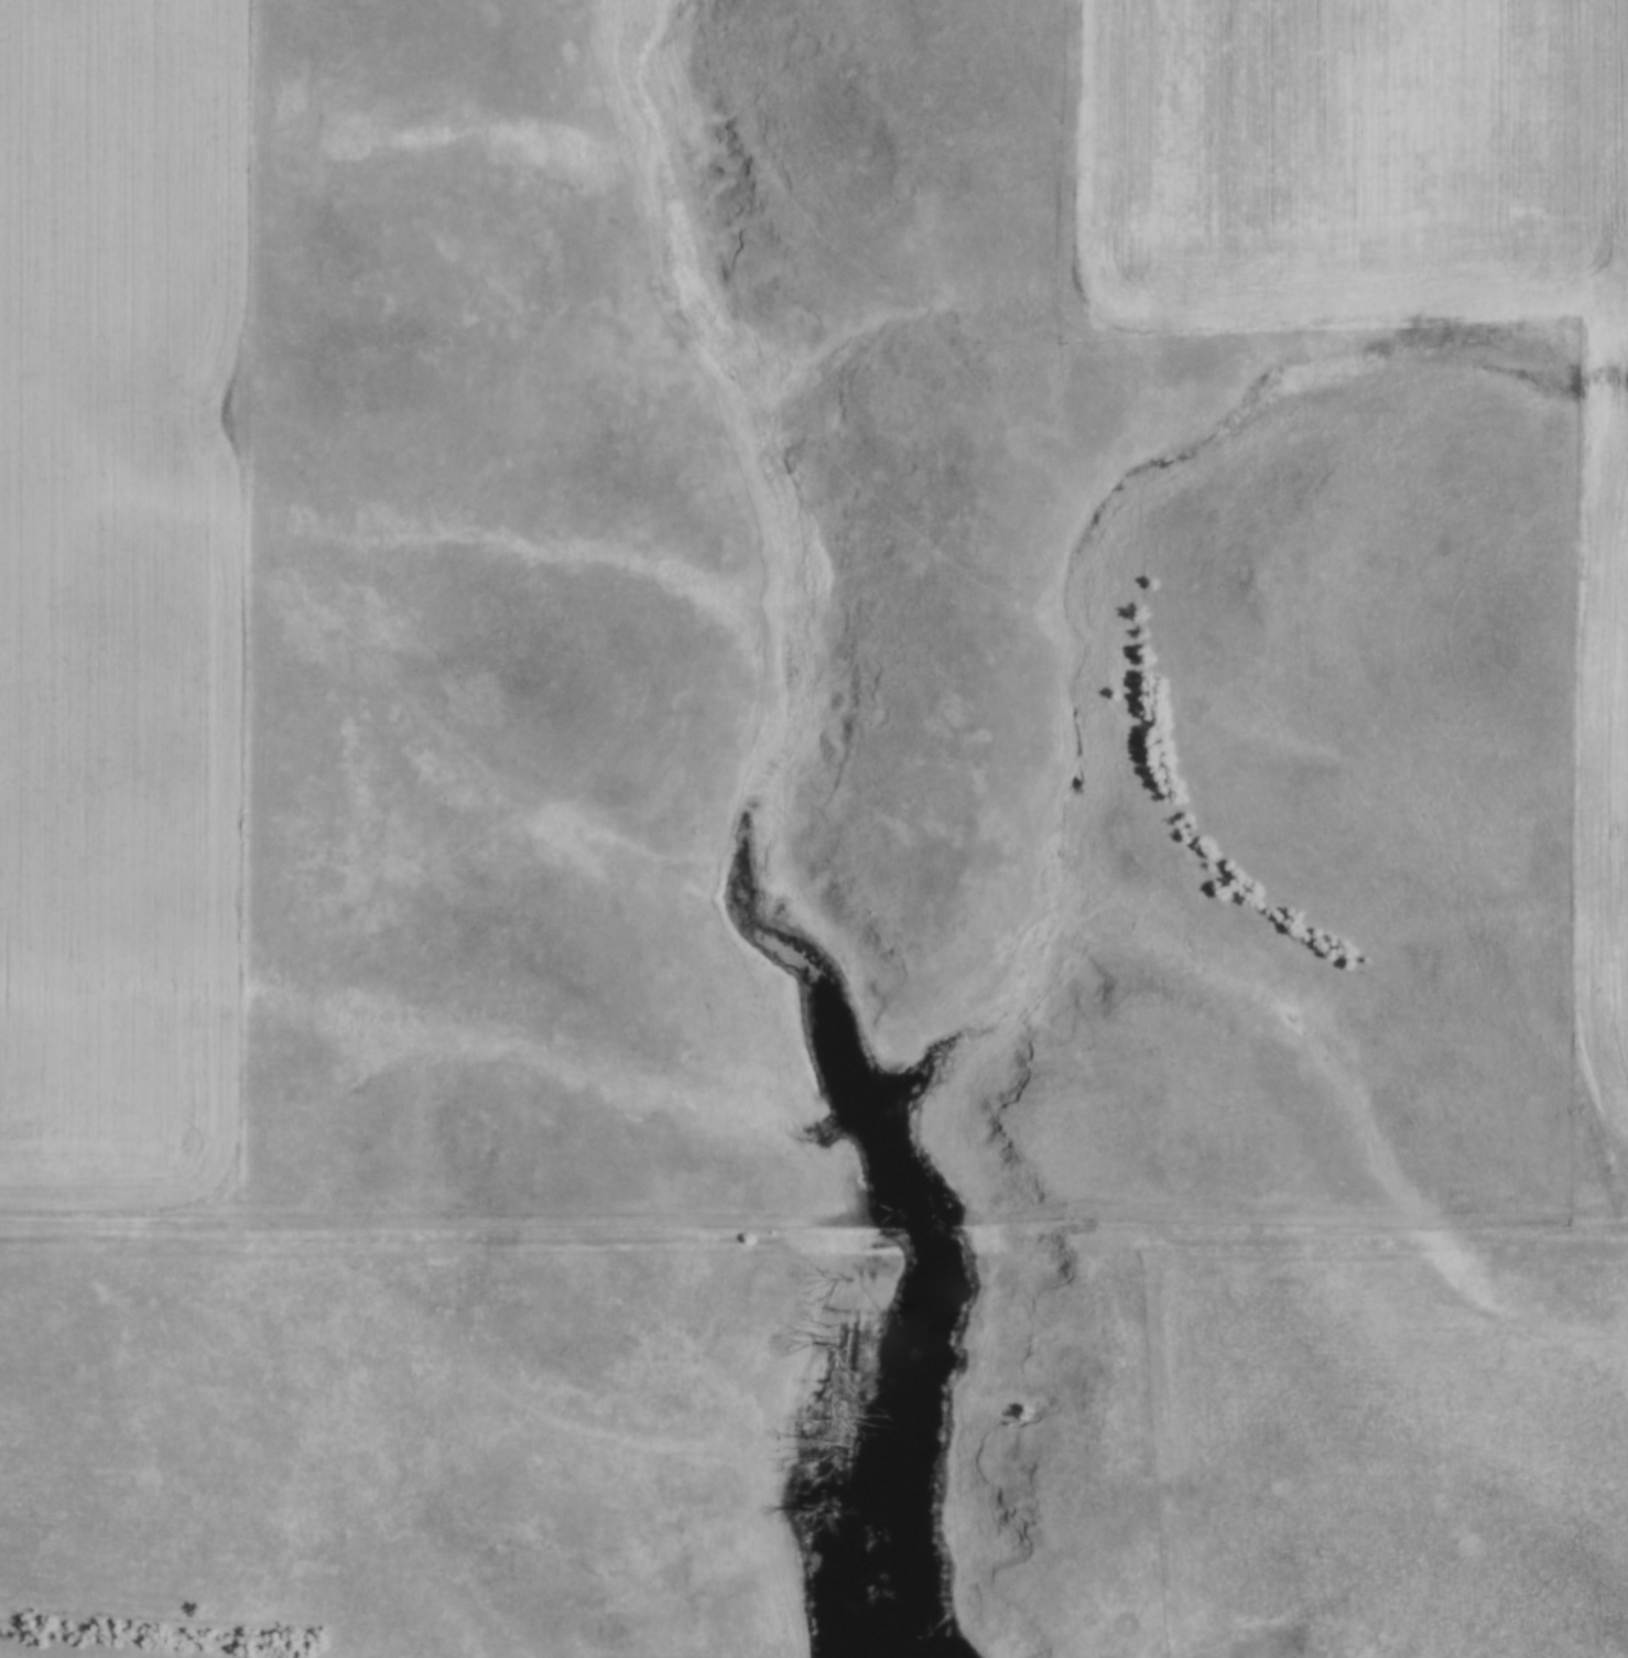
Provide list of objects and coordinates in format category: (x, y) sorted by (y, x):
road: (814, 1223)

